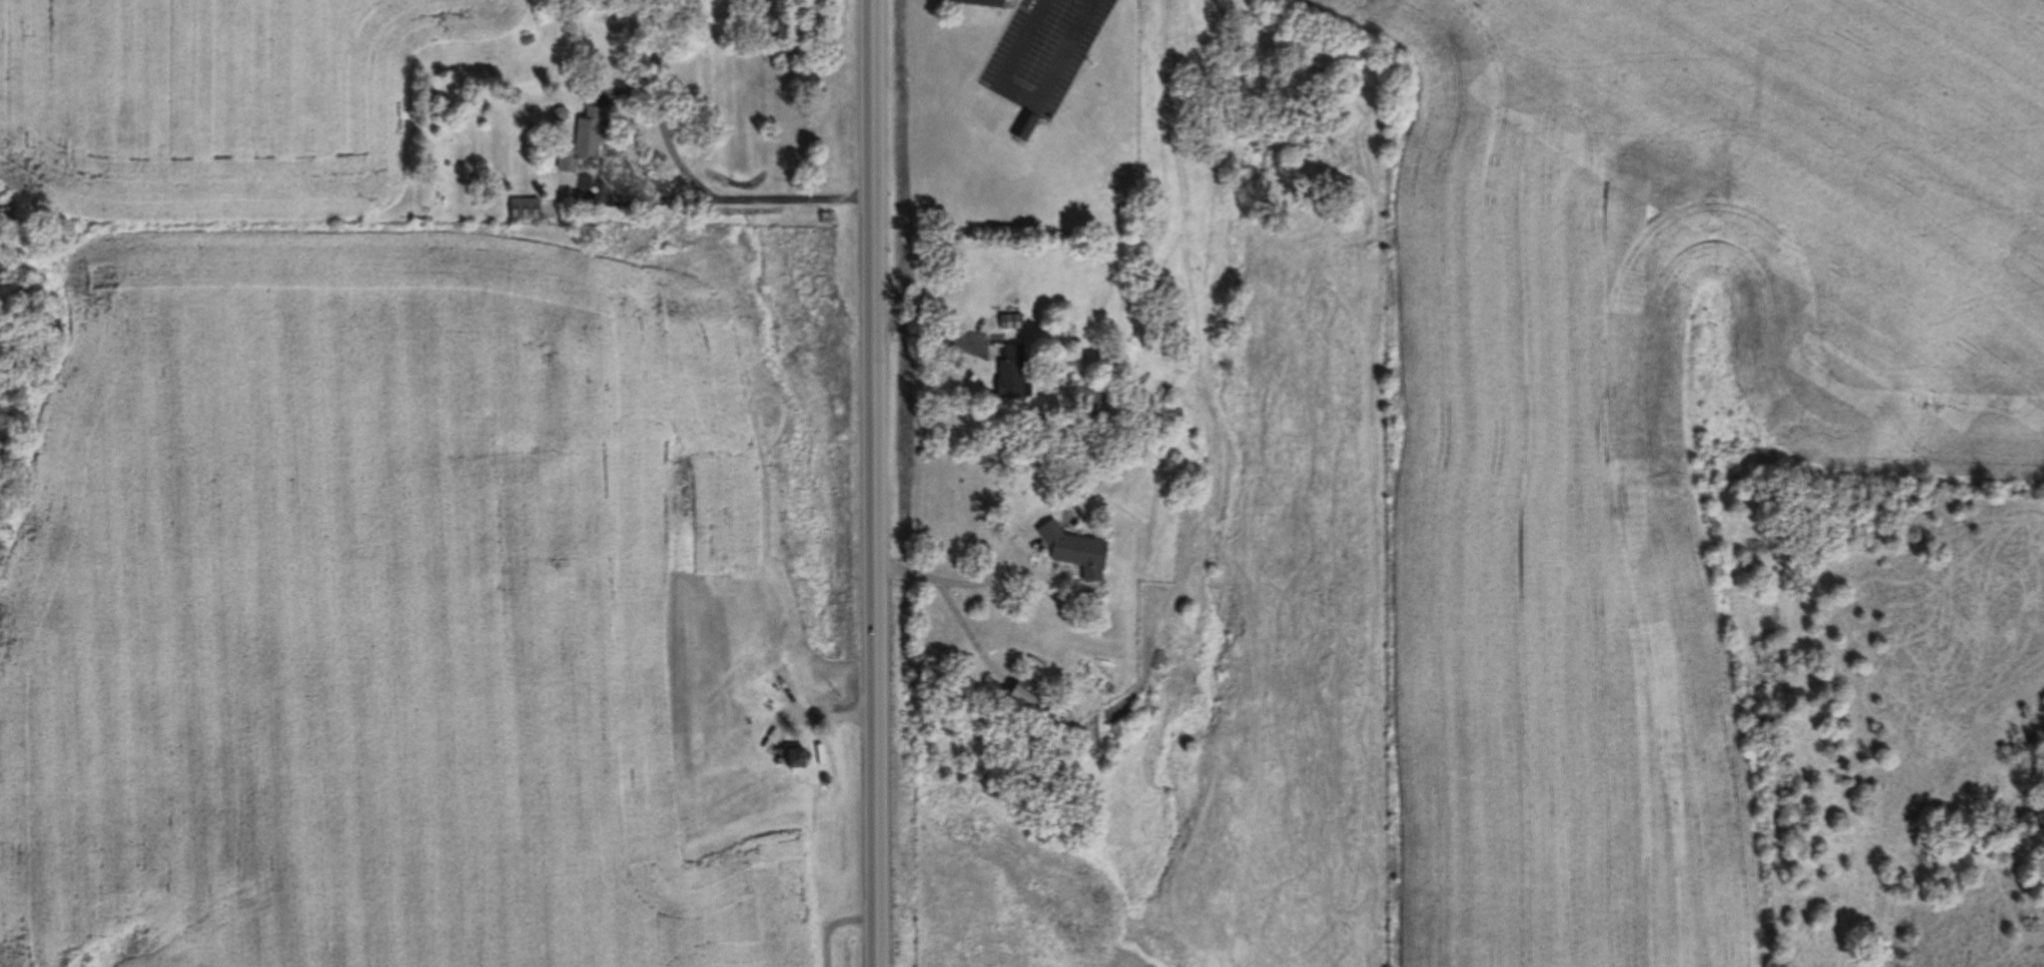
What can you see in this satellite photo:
building: (980, 3)
parking lot: (1040, 52)
road: (1025, 99)
building: (1022, 125)
building: (580, 143)
road: (727, 197)
building: (521, 212)
building: (1005, 323)
building: (1008, 371)
road: (872, 483)
building: (1074, 556)
building: (751, 621)
building: (742, 694)
building: (792, 758)

